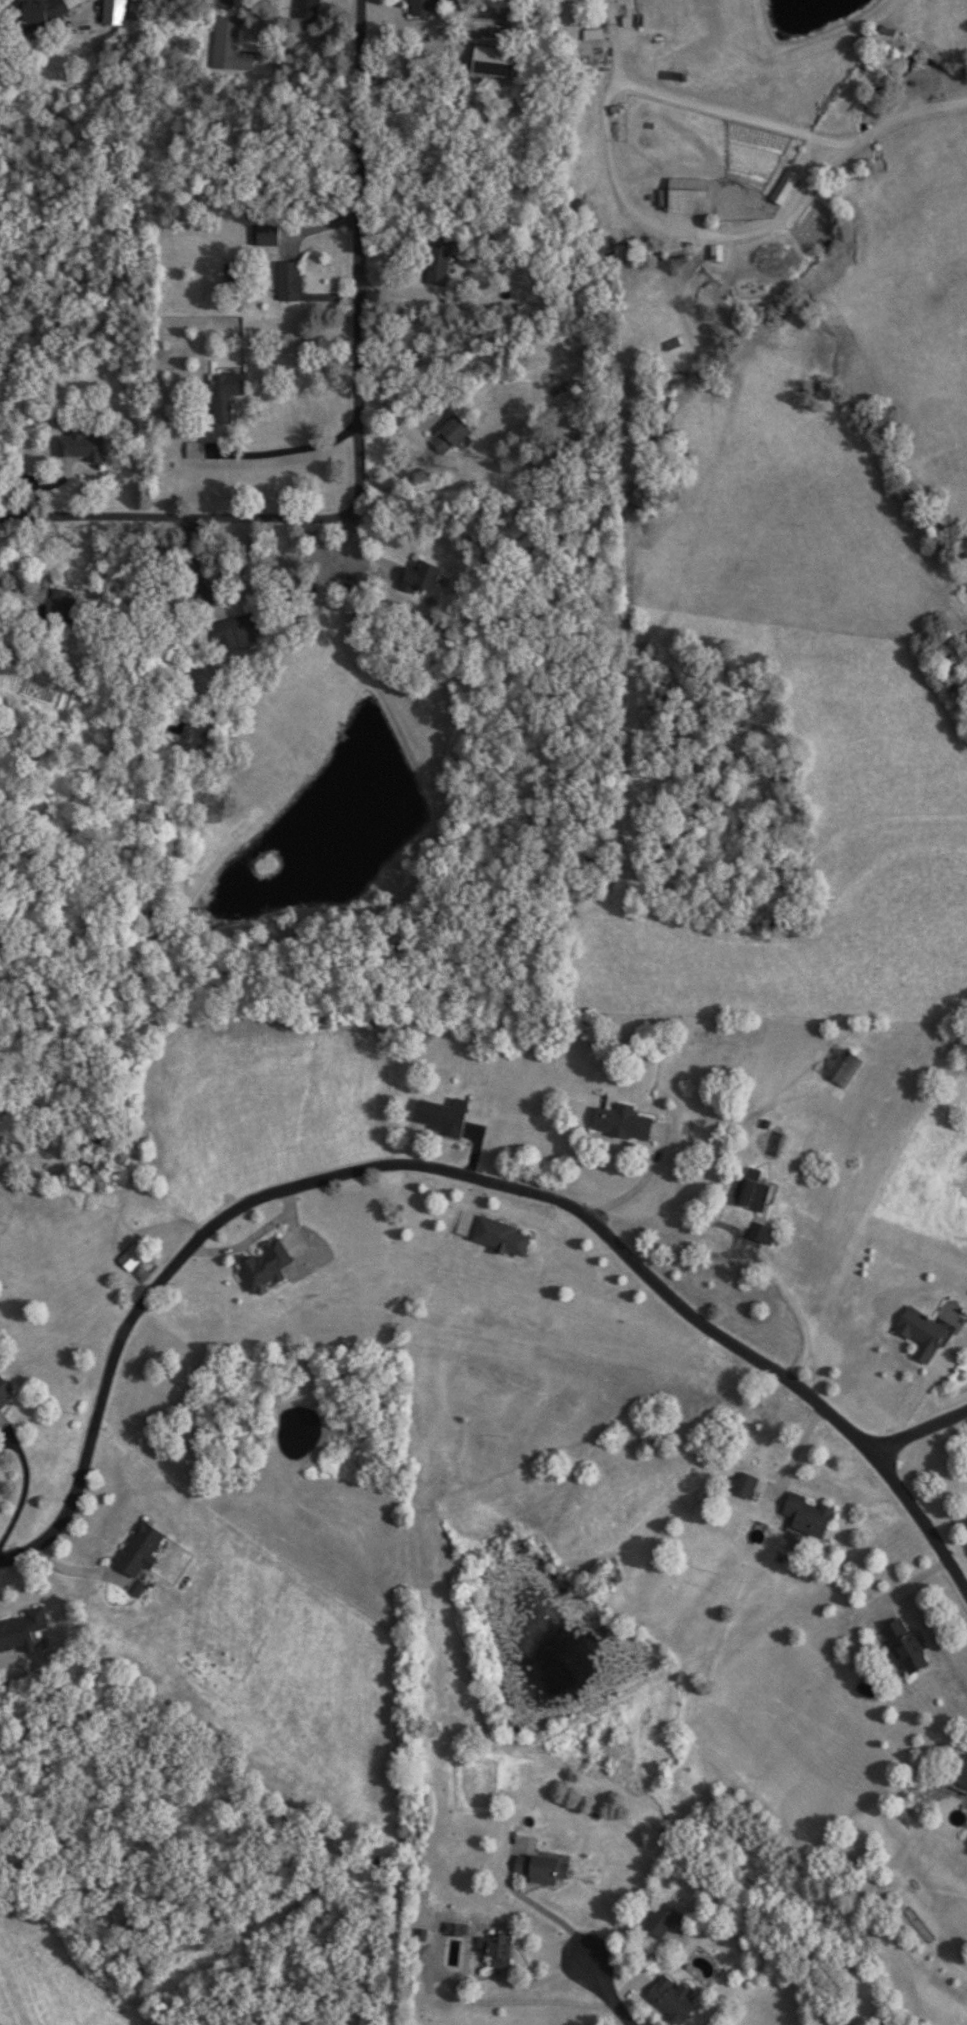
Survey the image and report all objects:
building: (422, 8)
building: (309, 12)
building: (116, 13)
building: (48, 14)
building: (592, 17)
building: (593, 35)
building: (237, 44)
building: (493, 63)
road: (909, 112)
road: (612, 156)
building: (784, 188)
building: (687, 197)
building: (267, 237)
building: (438, 262)
building: (293, 282)
building: (228, 393)
road: (360, 434)
building: (449, 436)
building: (84, 447)
road: (297, 451)
building: (420, 579)
building: (238, 629)
road: (39, 633)
building: (841, 1067)
building: (441, 1117)
building: (622, 1124)
road: (628, 1192)
building: (753, 1196)
building: (762, 1235)
road: (251, 1236)
building: (501, 1239)
building: (133, 1258)
building: (269, 1267)
road: (642, 1271)
road: (787, 1300)
building: (921, 1335)
building: (5, 1395)
road: (104, 1395)
road: (922, 1431)
building: (742, 1486)
building: (807, 1516)
building: (144, 1555)
building: (23, 1632)
building: (906, 1648)
building: (962, 1776)
building: (541, 1871)
road: (551, 1915)
building: (662, 1921)
building: (494, 1951)
road: (605, 1990)
building: (669, 2003)

